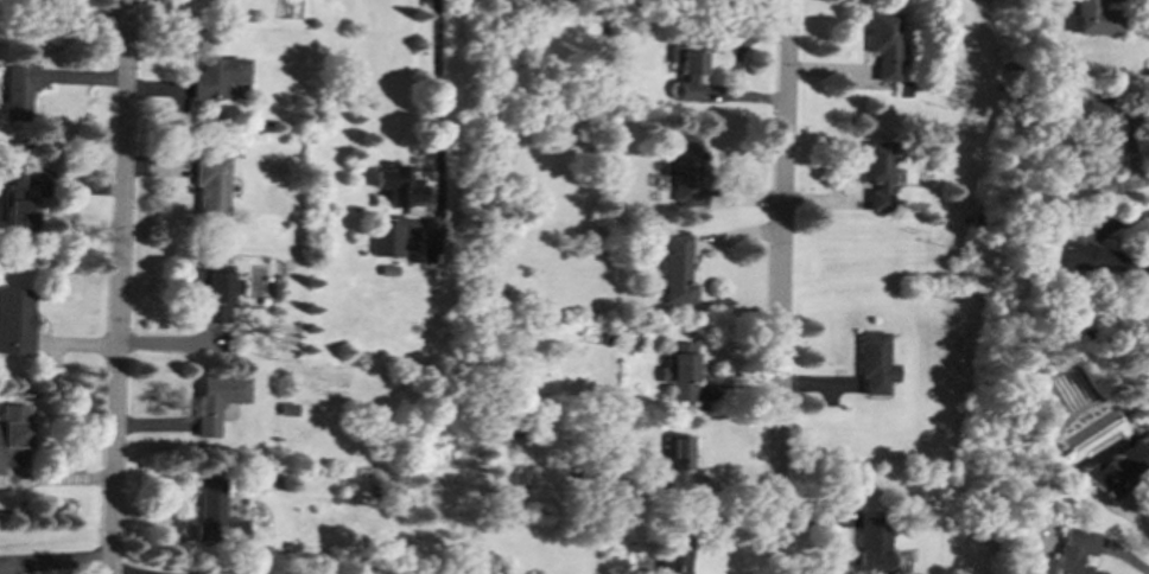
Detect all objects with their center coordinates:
building: (1091, 18)
building: (883, 43)
building: (686, 71)
building: (215, 76)
road: (437, 76)
building: (19, 90)
building: (1103, 134)
building: (668, 164)
building: (686, 170)
building: (876, 174)
building: (396, 185)
building: (209, 189)
building: (15, 203)
building: (385, 238)
building: (1097, 260)
building: (677, 269)
road: (120, 286)
road: (781, 287)
building: (216, 294)
building: (15, 320)
building: (874, 362)
building: (679, 370)
building: (216, 400)
building: (287, 408)
building: (13, 435)
building: (675, 461)
building: (1119, 467)
building: (214, 511)
building: (870, 541)
building: (1075, 550)
building: (673, 554)
road: (56, 561)

